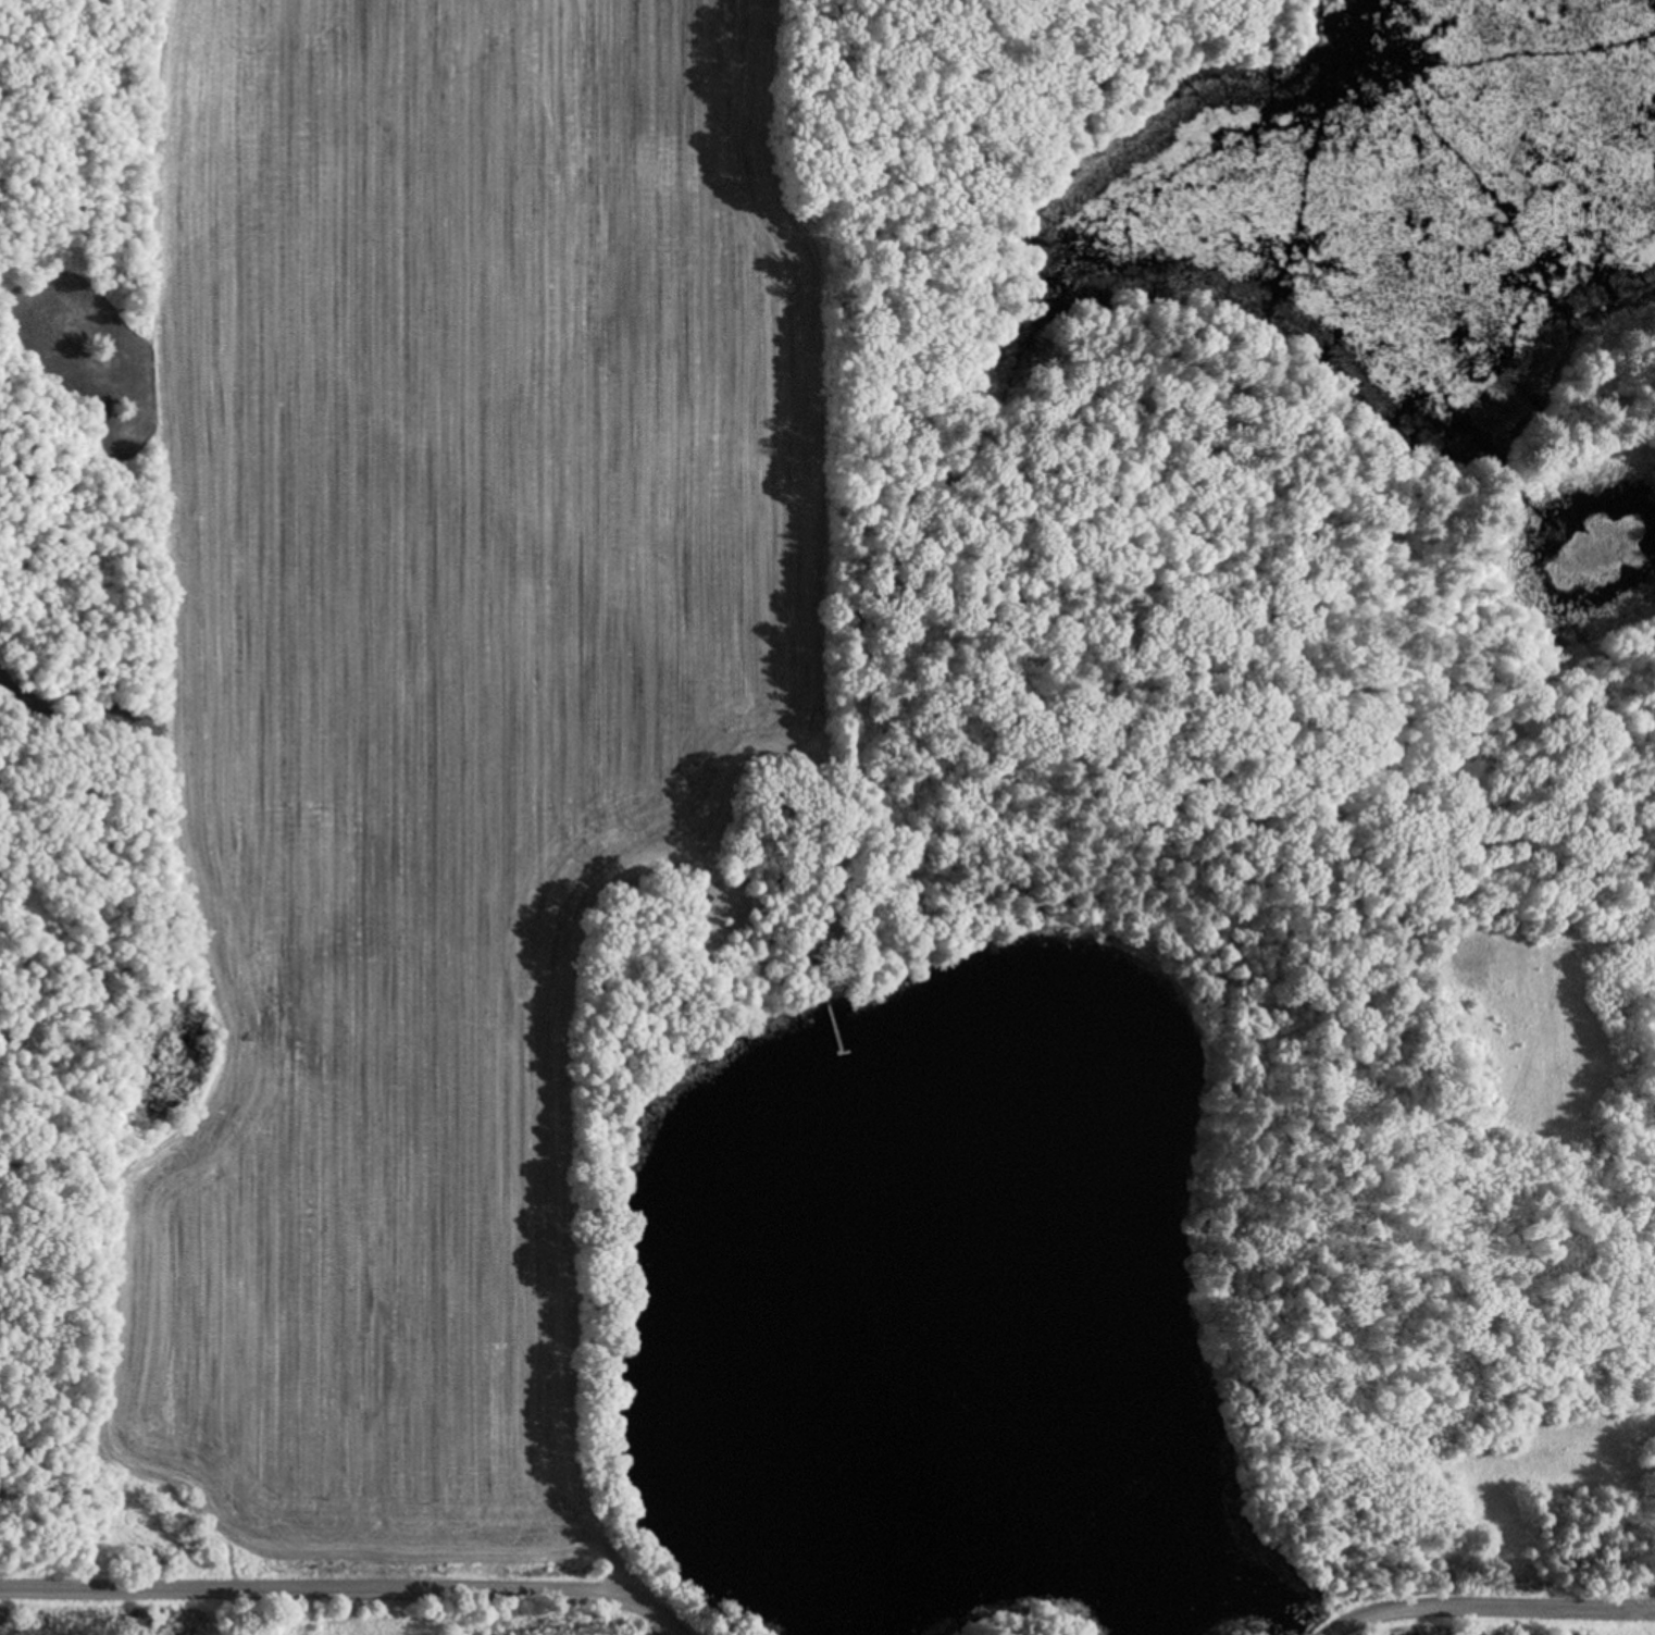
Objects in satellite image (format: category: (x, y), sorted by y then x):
road: (327, 1590)
road: (1609, 1624)

